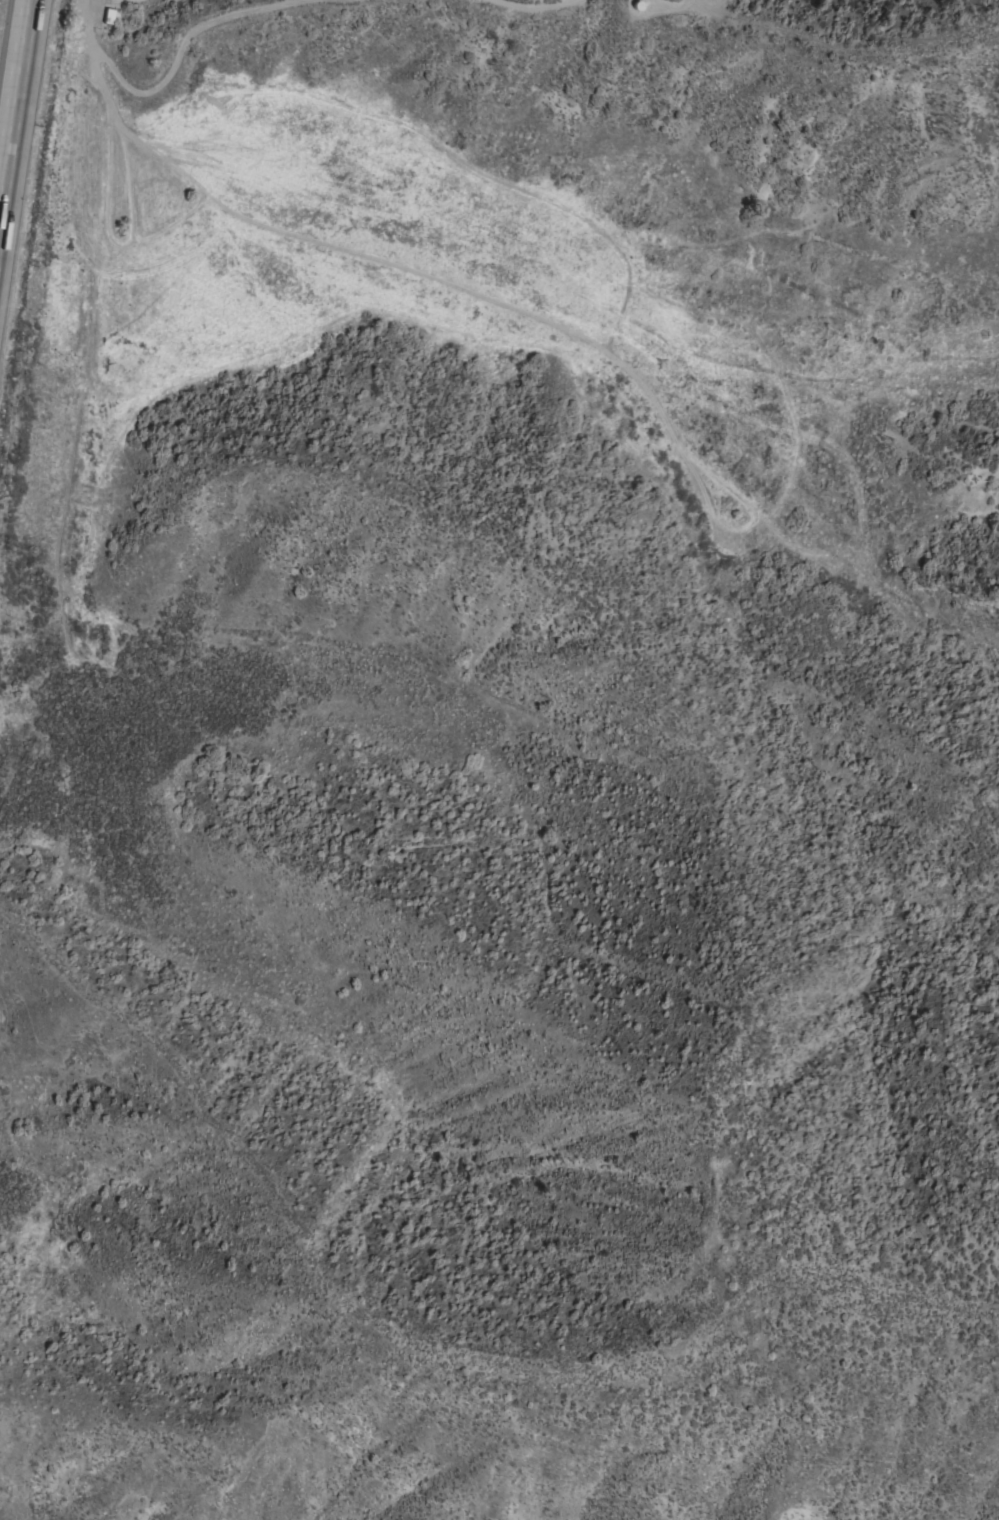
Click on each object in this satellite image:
building: (108, 16)
road: (14, 100)

